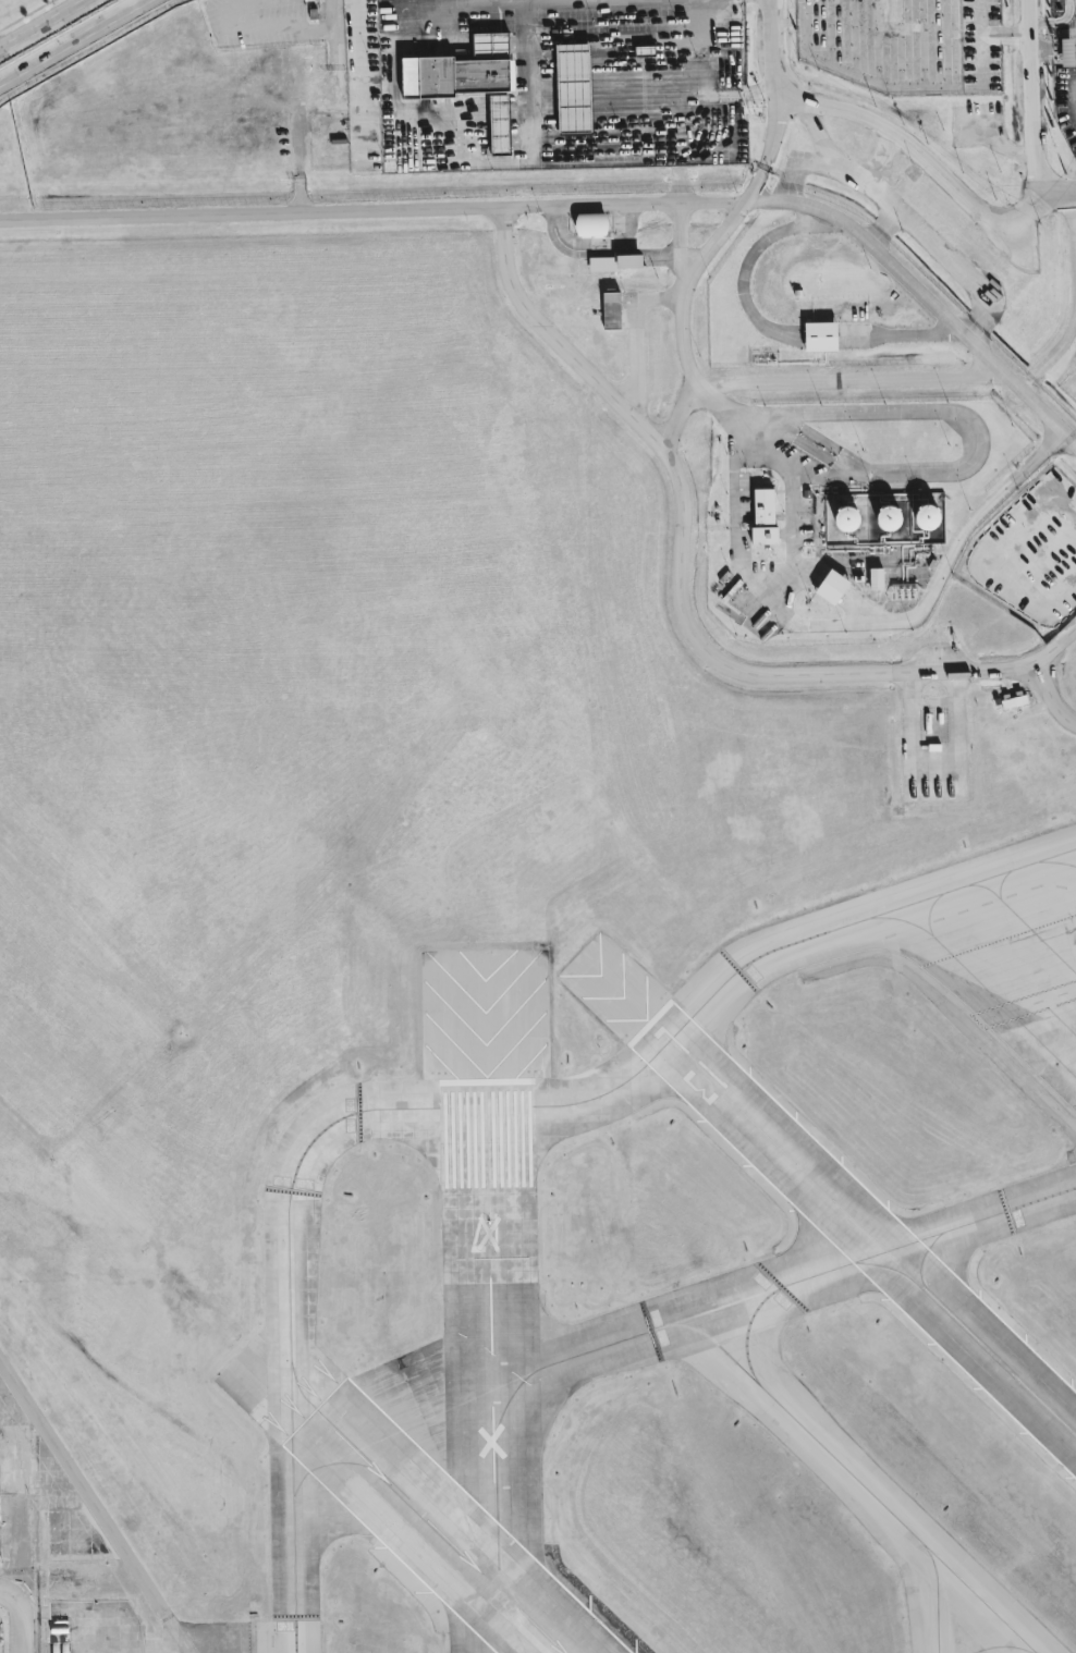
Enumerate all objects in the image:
road: (647, 0)
road: (570, 1)
road: (606, 1)
road: (600, 2)
road: (466, 4)
parking lot: (259, 22)
road: (1059, 23)
road: (42, 24)
road: (1005, 28)
road: (409, 30)
road: (335, 33)
road: (256, 38)
road: (72, 40)
road: (637, 40)
road: (1005, 40)
road: (980, 41)
parking lot: (905, 42)
road: (1047, 42)
road: (1068, 42)
road: (1075, 42)
building: (1067, 52)
road: (1075, 53)
road: (1047, 54)
road: (1067, 54)
parking lot: (1062, 69)
road: (411, 76)
road: (360, 77)
road: (745, 78)
building: (470, 79)
road: (528, 82)
parking lot: (546, 83)
building: (574, 88)
road: (765, 90)
road: (1034, 93)
road: (1075, 95)
road: (1075, 114)
road: (1075, 114)
road: (315, 119)
parking lot: (981, 126)
road: (780, 128)
road: (887, 128)
road: (412, 131)
road: (821, 133)
road: (1016, 149)
road: (880, 155)
road: (641, 161)
road: (473, 164)
road: (1059, 191)
road: (299, 193)
road: (785, 193)
road: (1074, 200)
road: (575, 204)
road: (908, 215)
road: (894, 222)
building: (599, 228)
road: (730, 228)
road: (878, 237)
parking lot: (1018, 242)
road: (594, 243)
building: (620, 267)
road: (749, 270)
building: (620, 314)
road: (639, 332)
road: (978, 336)
building: (827, 339)
road: (909, 340)
road: (1059, 348)
road: (1029, 384)
parking lot: (1069, 384)
road: (742, 388)
road: (682, 413)
road: (1075, 441)
road: (964, 468)
building: (927, 516)
building: (889, 517)
building: (847, 518)
building: (771, 524)
road: (806, 525)
parking lot: (1027, 550)
road: (1044, 553)
road: (988, 559)
road: (787, 578)
building: (841, 591)
road: (680, 596)
road: (877, 615)
road: (868, 626)
road: (1053, 695)
airport: (541, 829)
airport taxiway: (1071, 855)
airport taxiway: (1028, 925)
airport apron: (1014, 933)
airport taxiway: (991, 989)
road: (1029, 1003)
airport taxiway: (702, 1004)
airport runway: (861, 1228)
airport taxiway: (704, 1311)
airport taxiway: (747, 1333)
airport runway: (490, 1366)
airport taxiway: (290, 1380)
airport taxiway: (298, 1385)
airport taxiway: (359, 1464)
airport taxiway: (856, 1478)
road: (83, 1485)
airport runway: (437, 1532)
road: (7, 1593)
airport taxiway: (936, 1594)
road: (21, 1625)
airport apron: (211, 1630)
airport taxiway: (1003, 1645)

